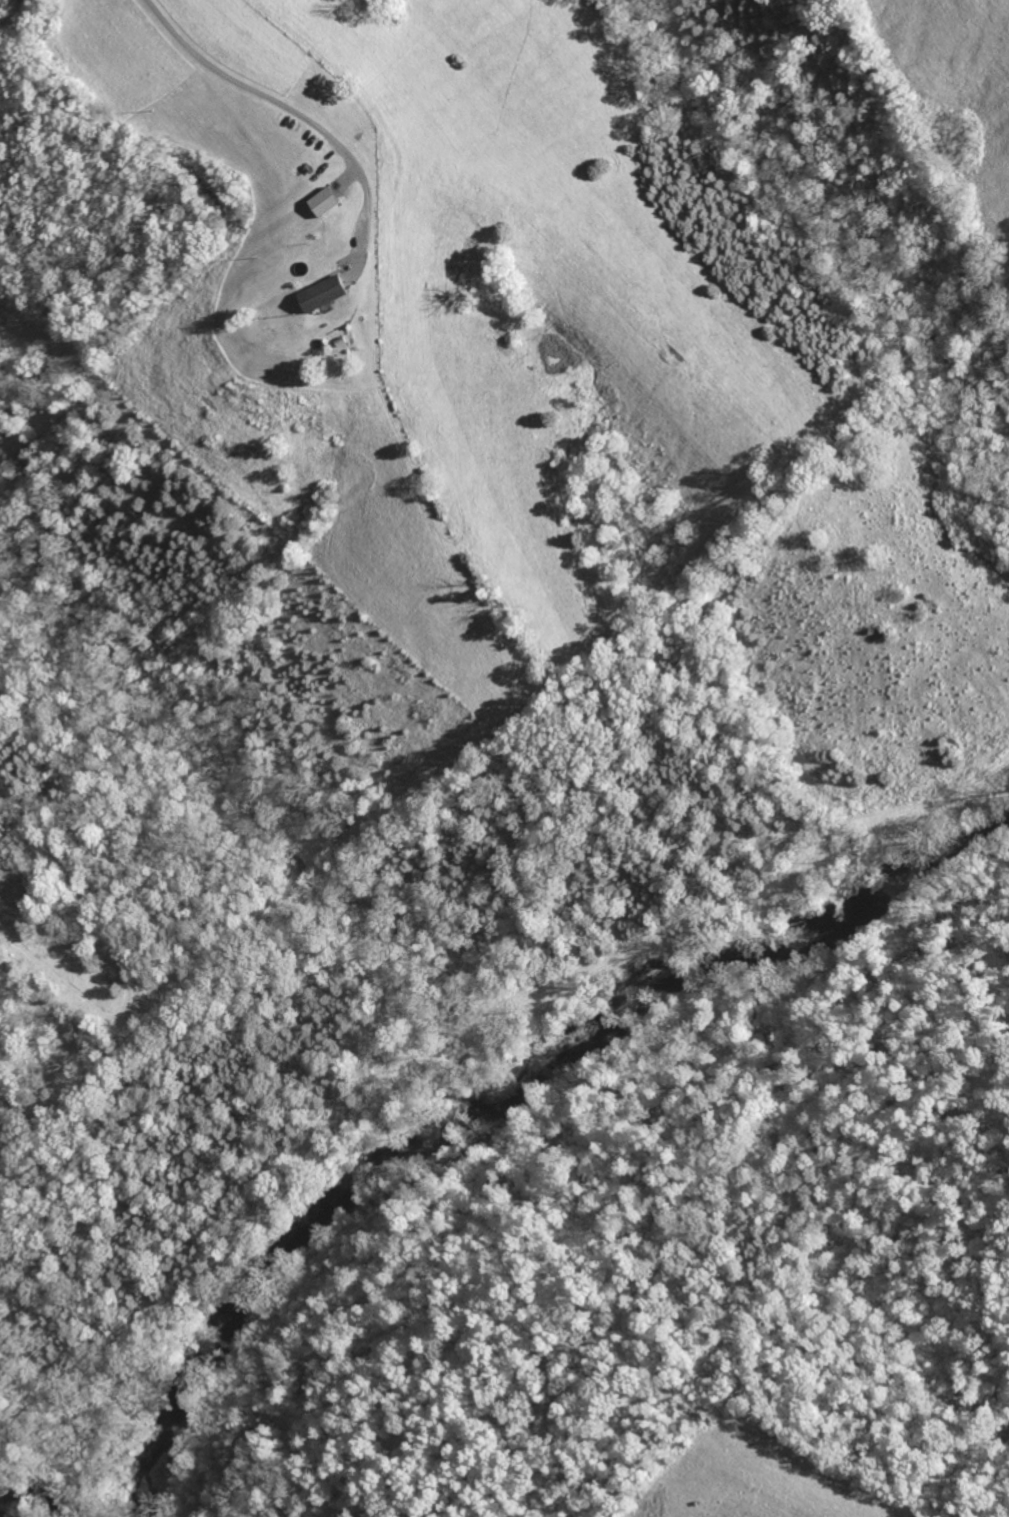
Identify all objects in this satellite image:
road: (265, 96)
building: (327, 202)
building: (326, 294)

